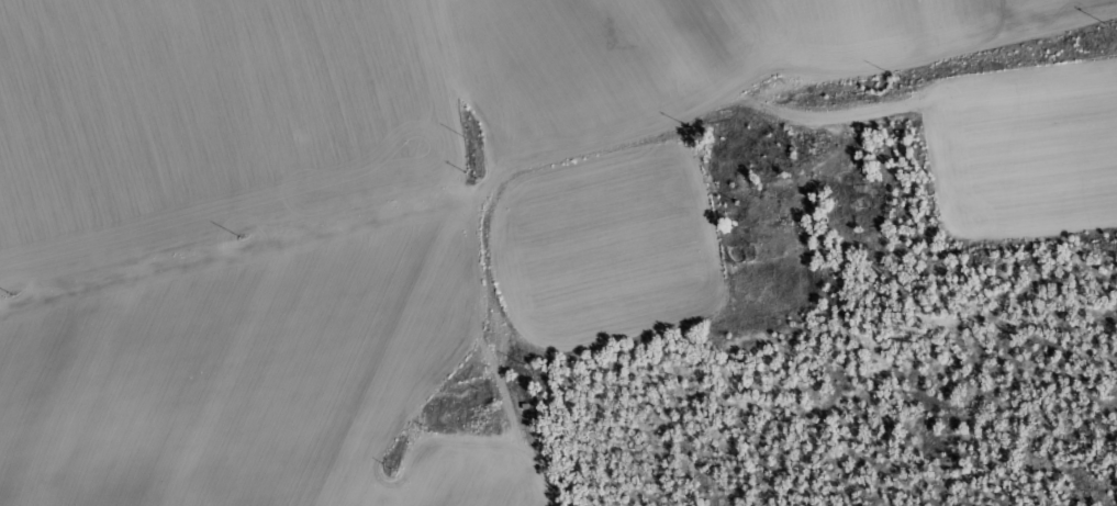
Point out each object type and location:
building: (814, 143)

